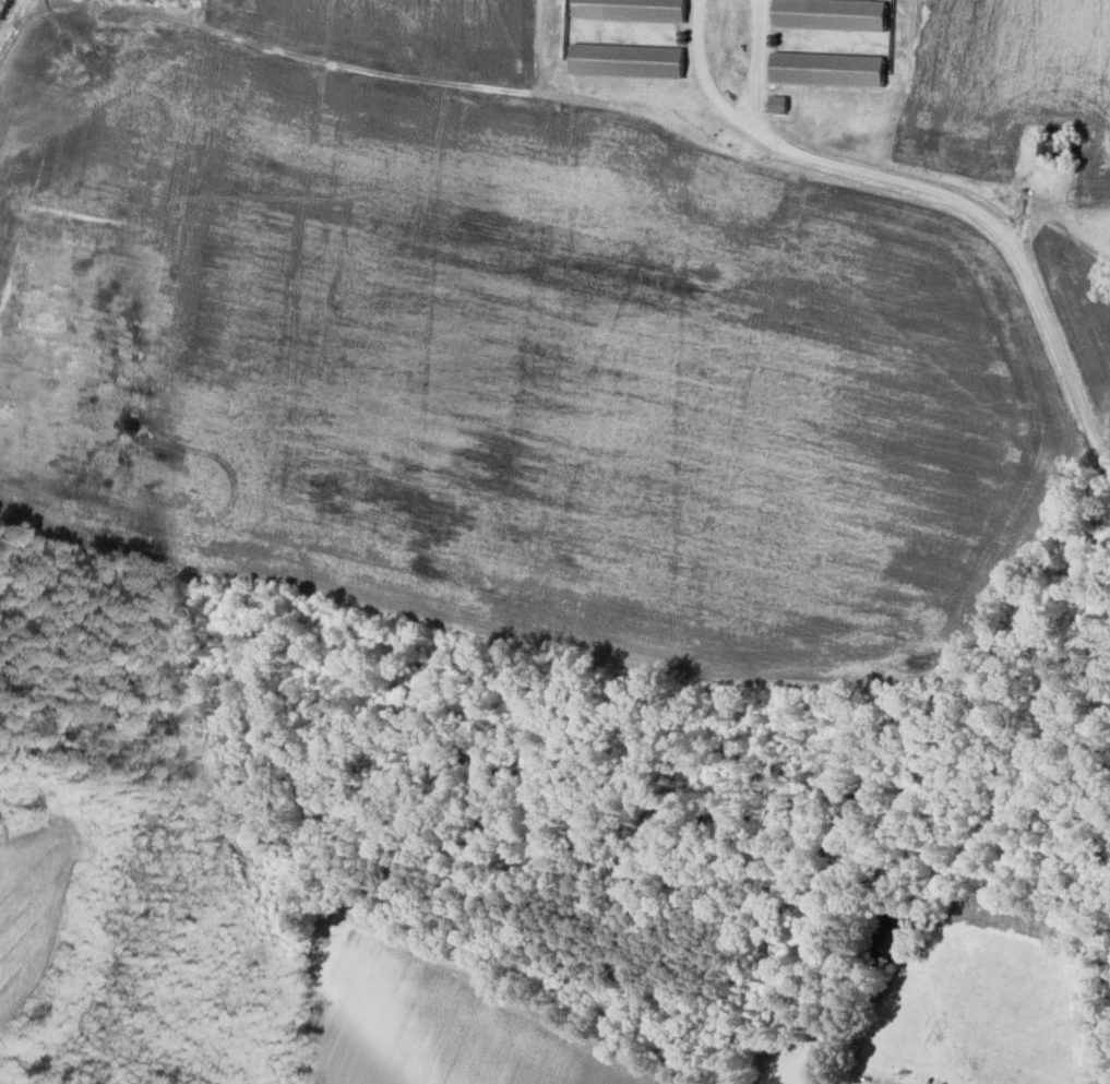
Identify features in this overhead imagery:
building: (628, 10)
building: (828, 13)
building: (624, 59)
road: (756, 61)
building: (825, 68)
road: (700, 69)
building: (775, 102)
road: (993, 223)

